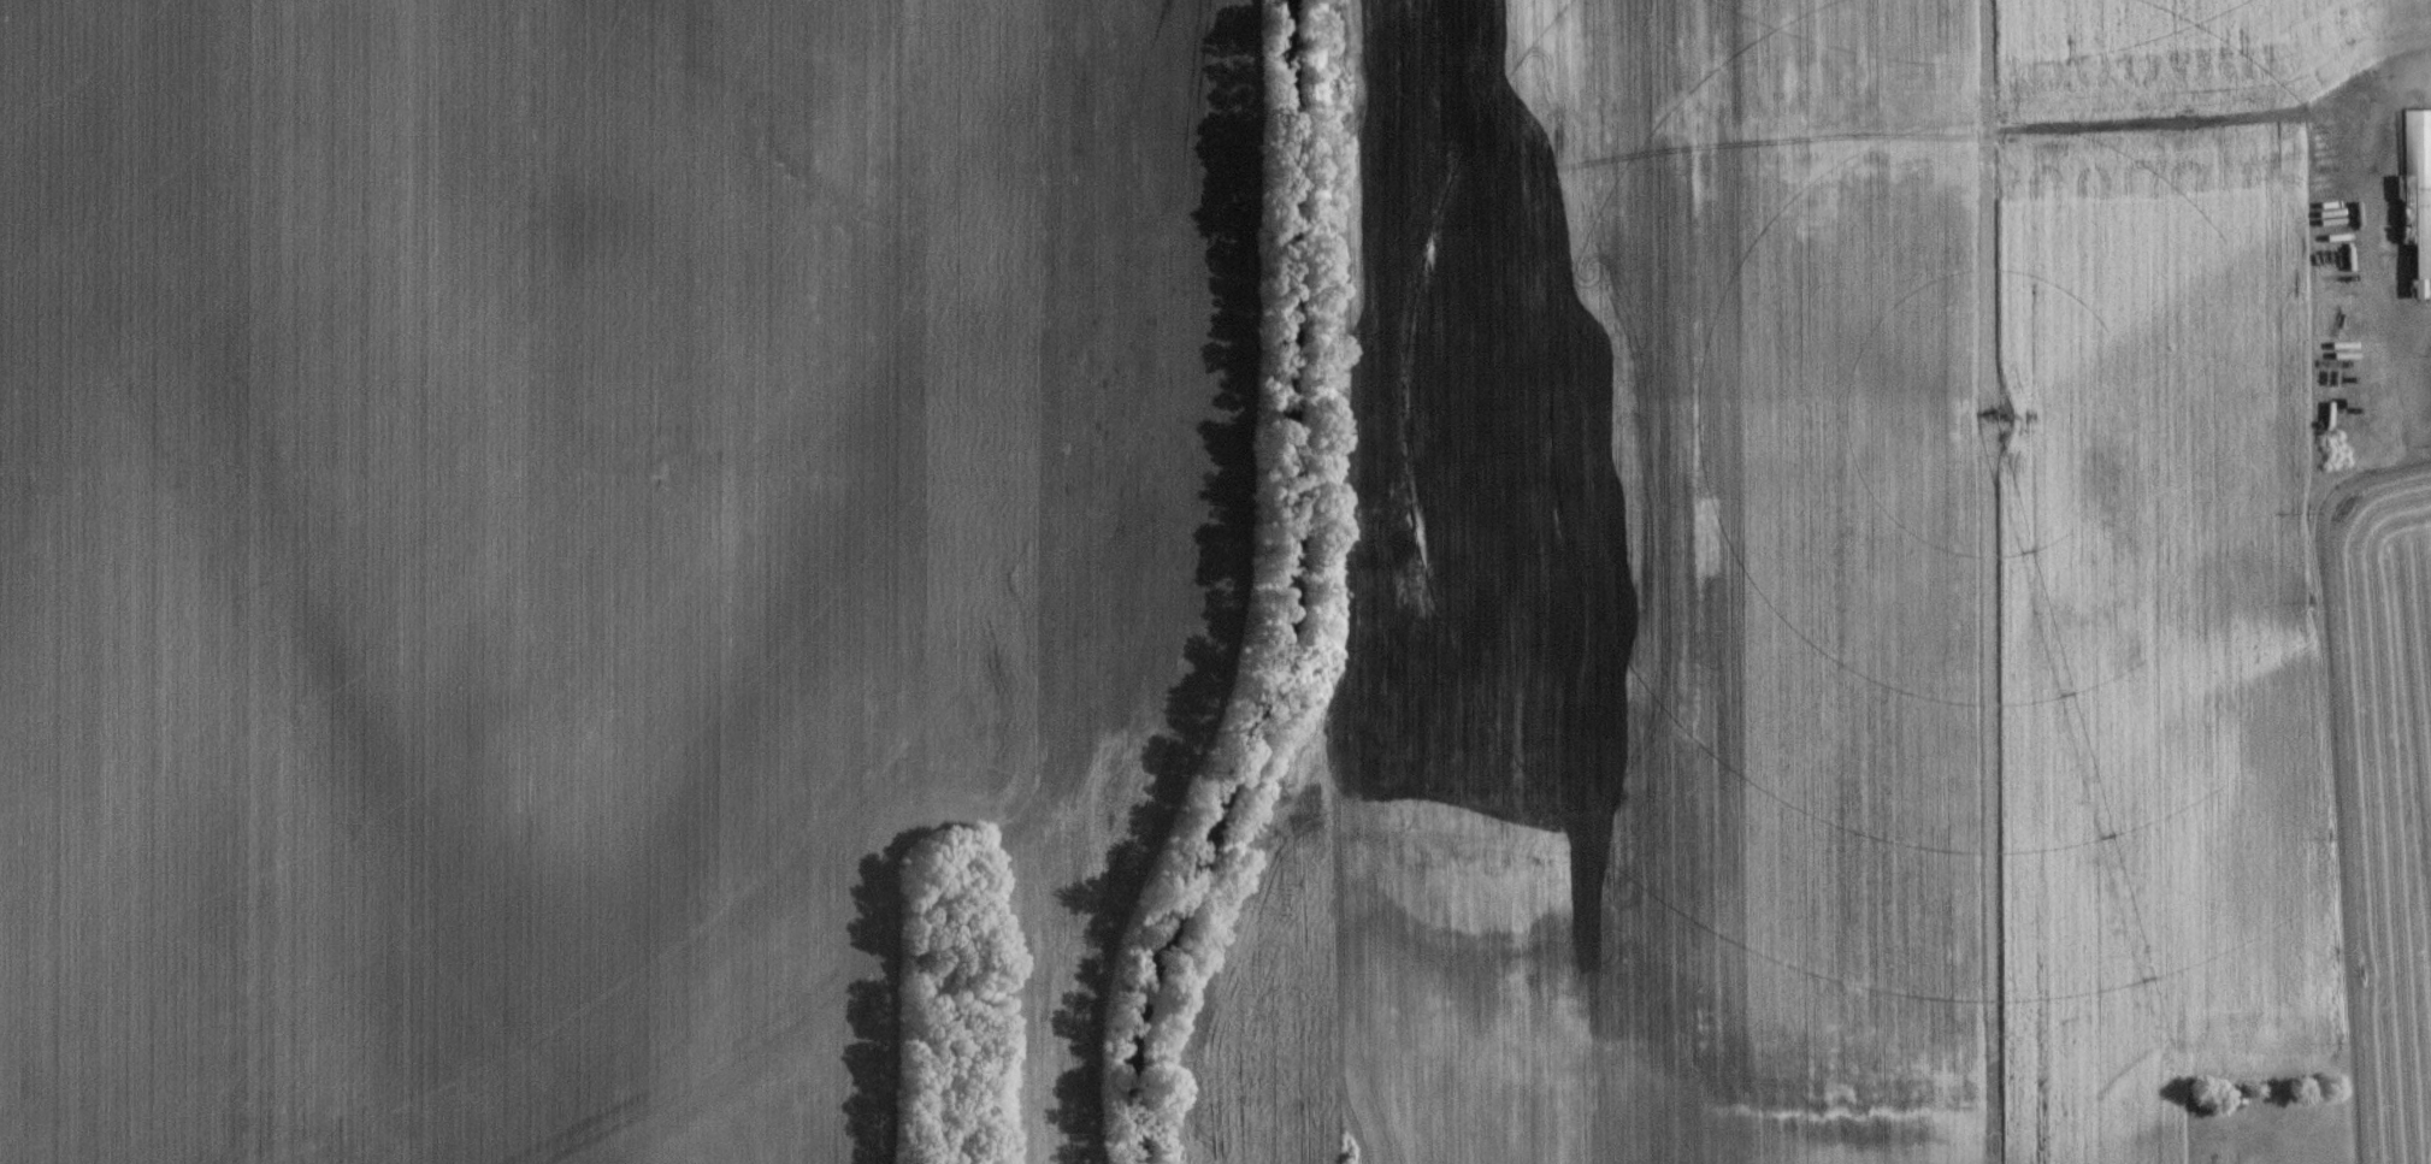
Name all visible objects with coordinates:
building: (2419, 209)
road: (2414, 396)
road: (2339, 776)

